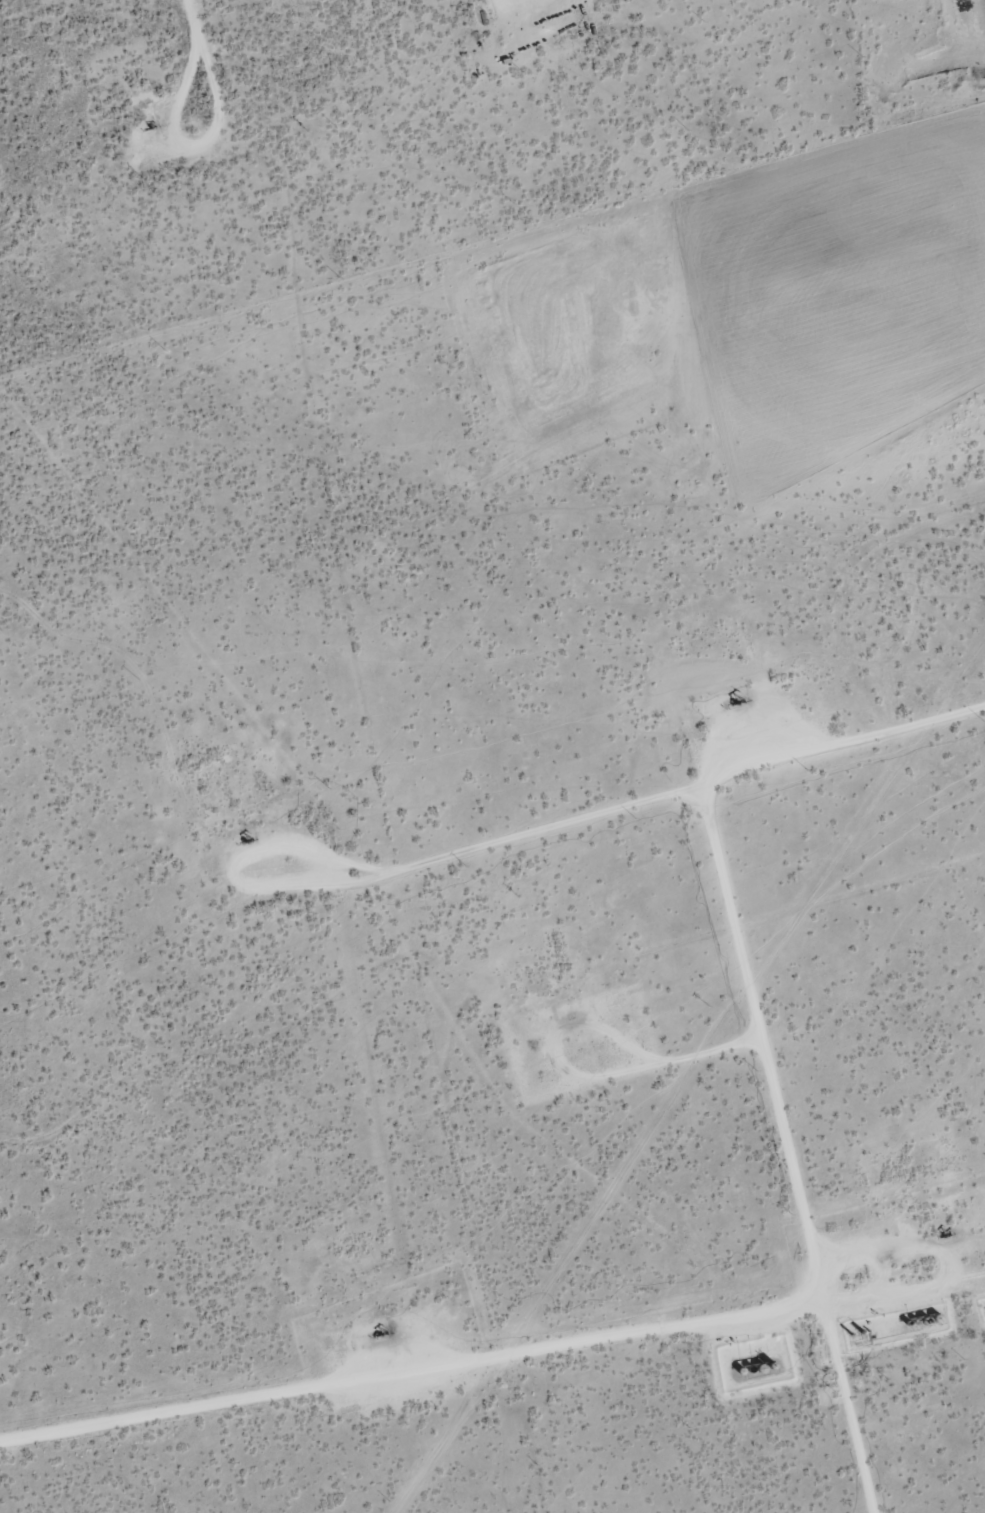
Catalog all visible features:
road: (192, 5)

